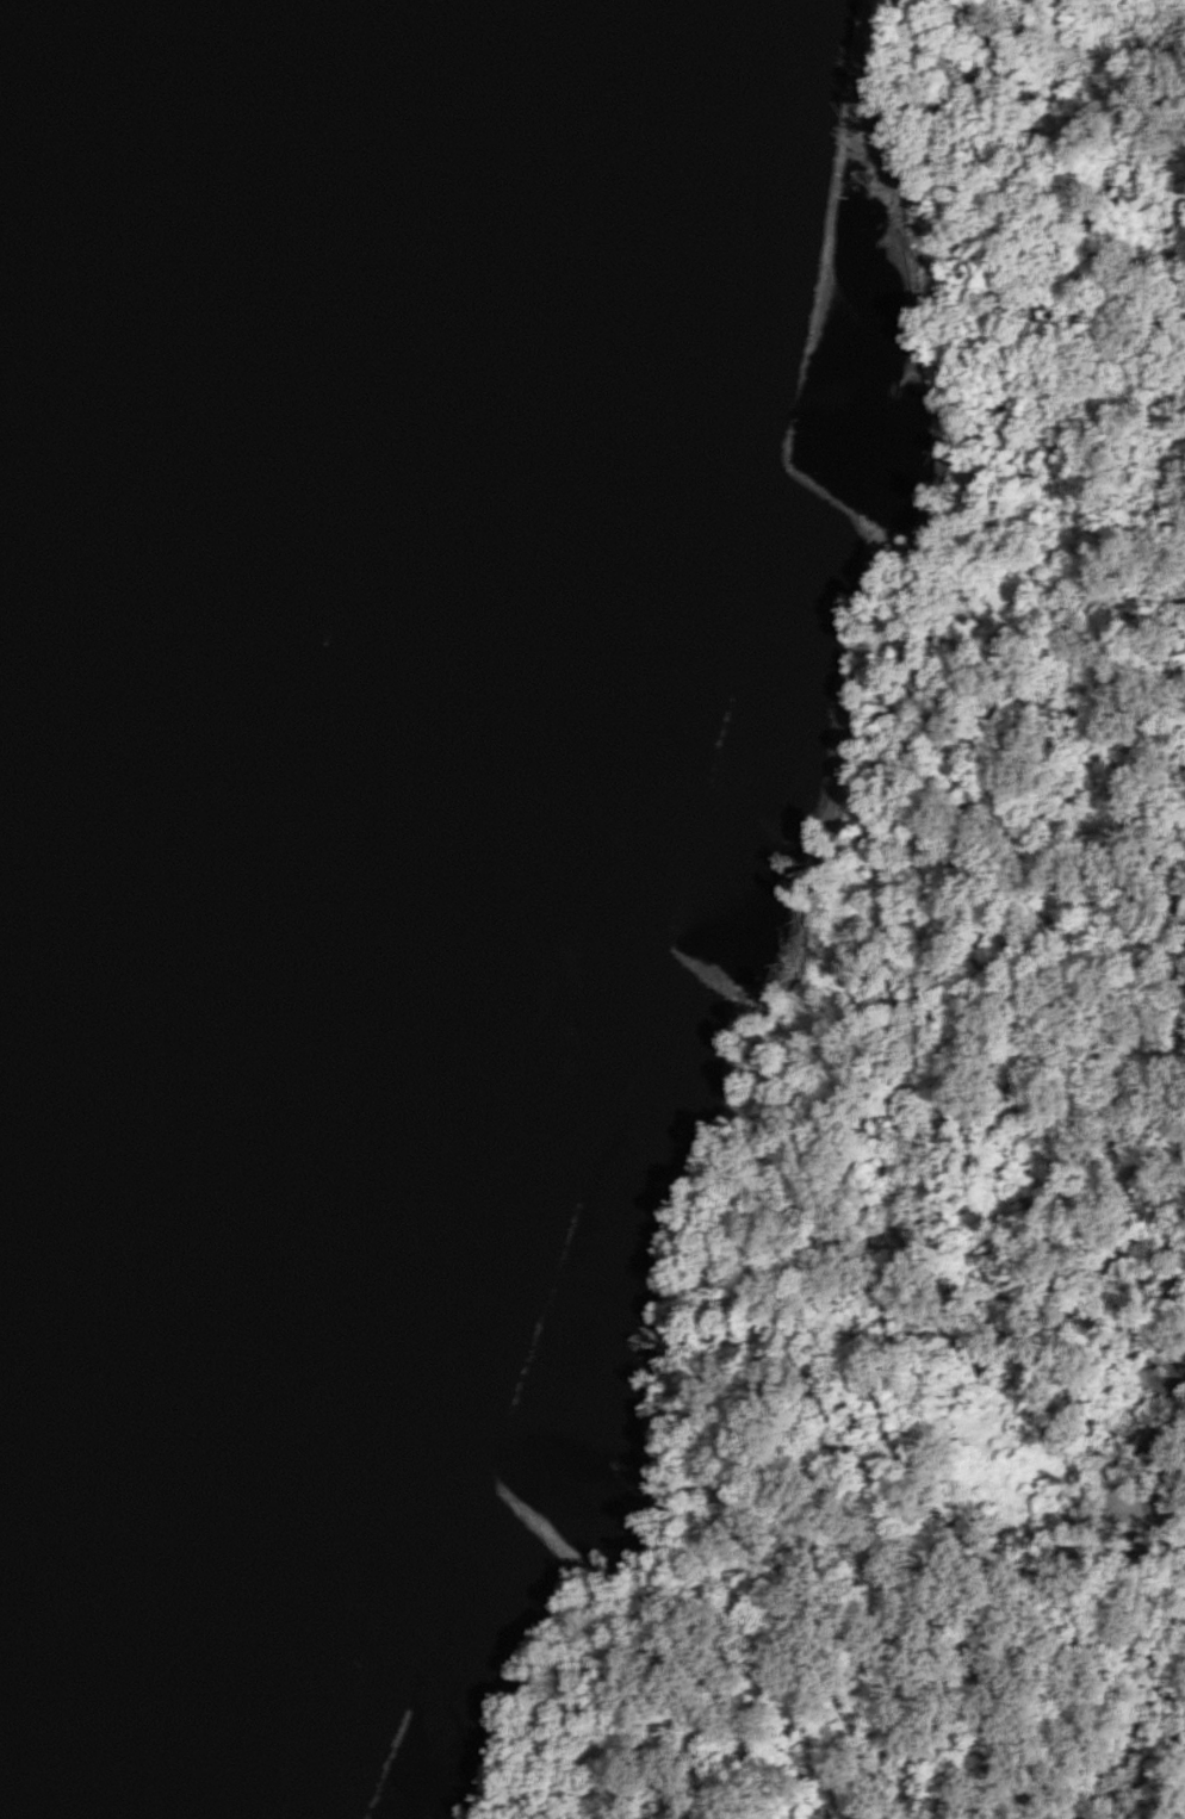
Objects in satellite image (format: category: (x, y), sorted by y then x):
river: (283, 844)

